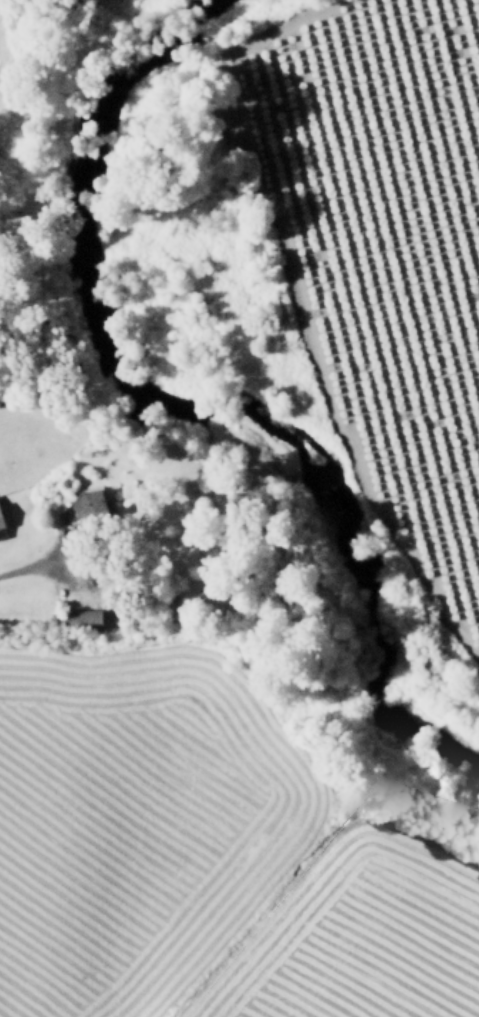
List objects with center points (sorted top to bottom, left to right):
river: (187, 398)
building: (87, 505)
building: (2, 527)
road: (31, 566)
building: (81, 617)
crop: (204, 861)

